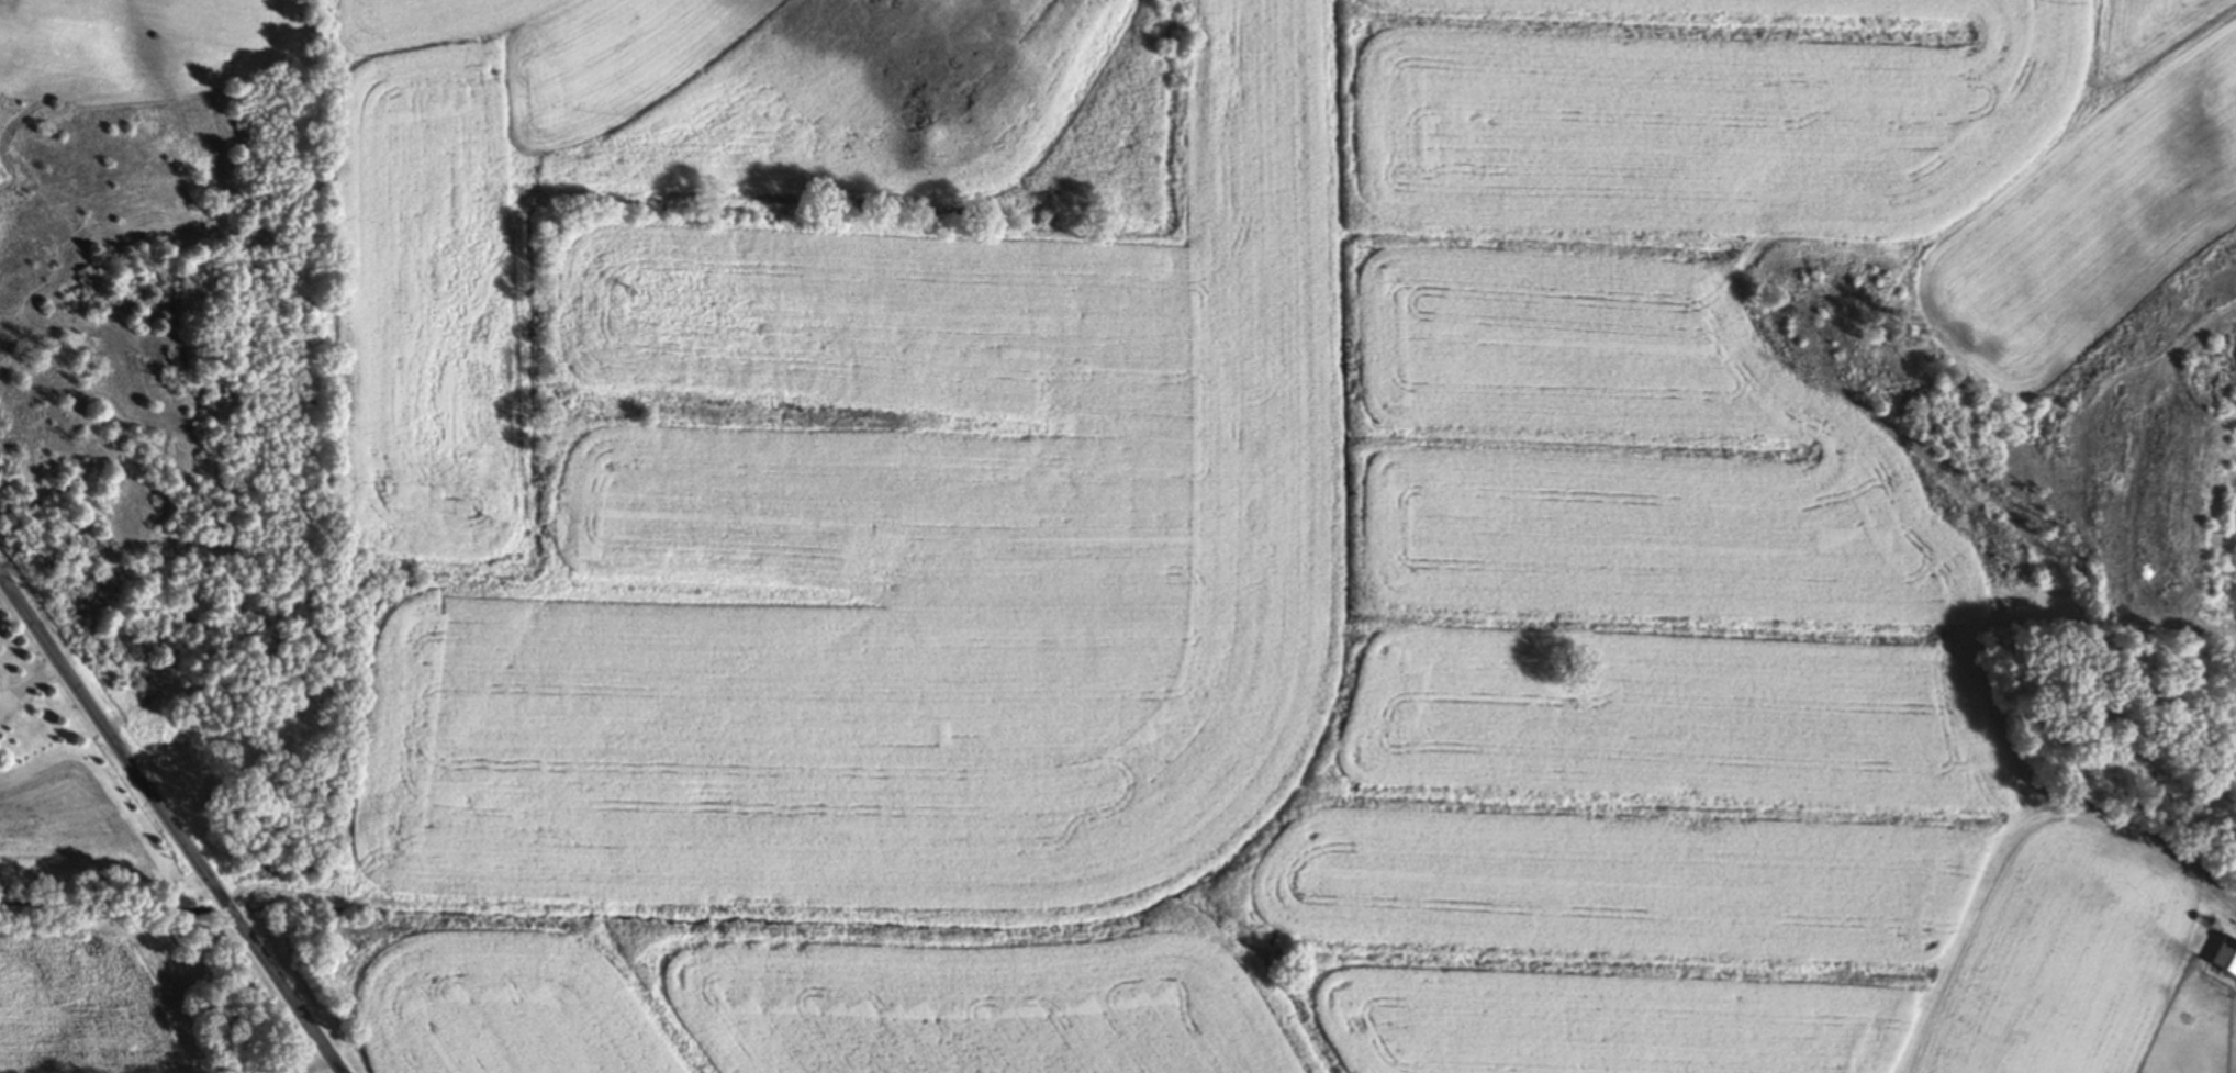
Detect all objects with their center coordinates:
road: (168, 825)
building: (2223, 957)

